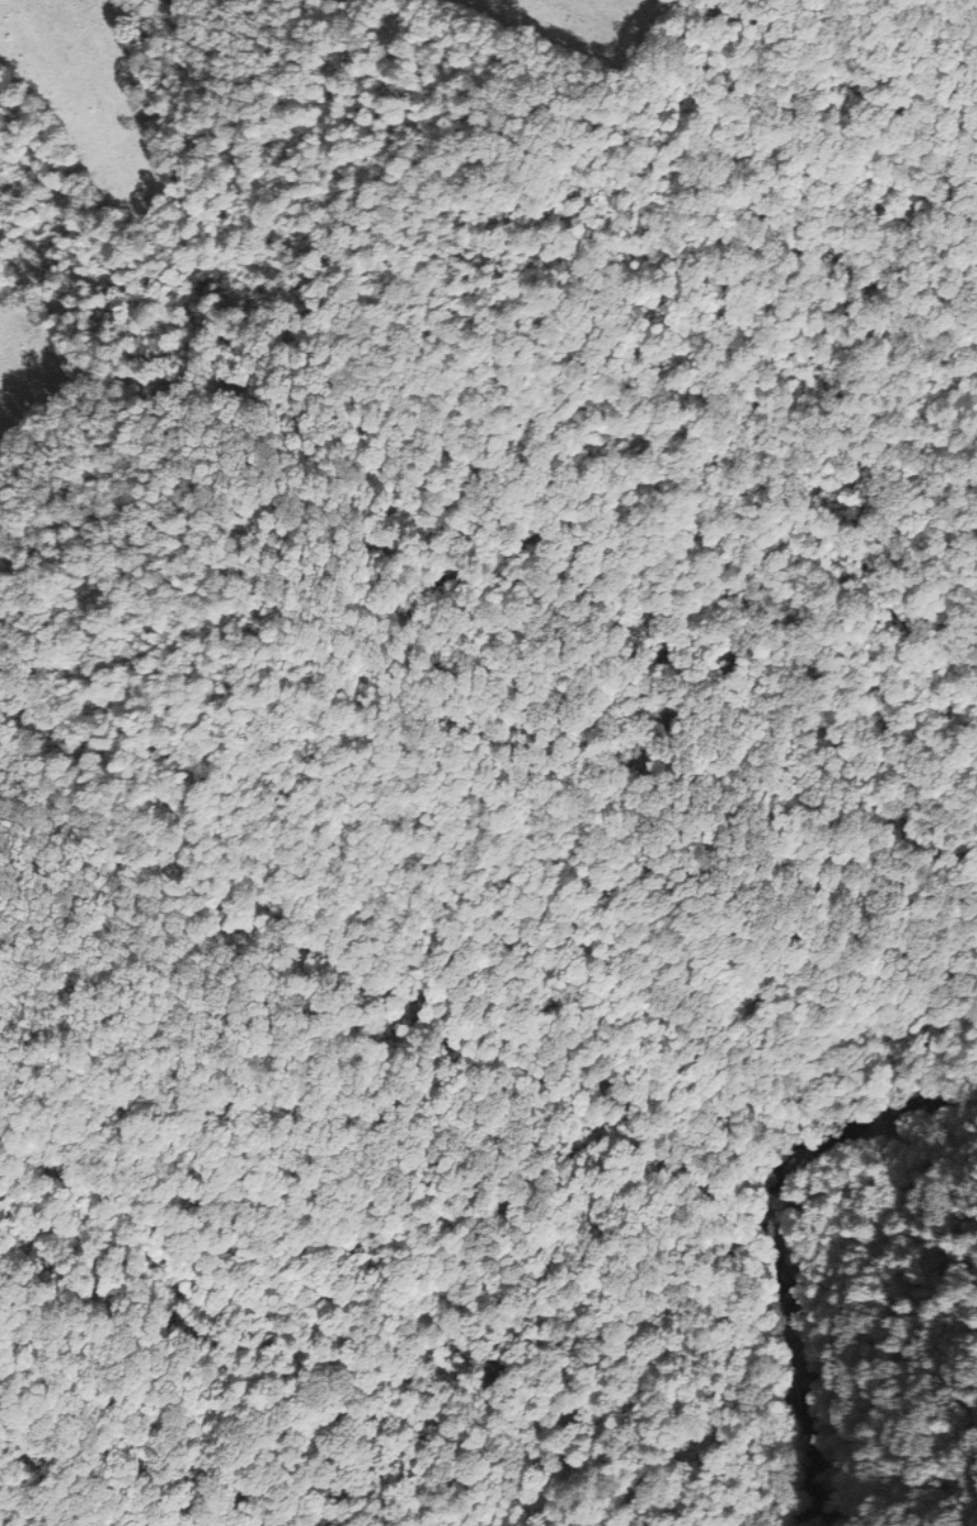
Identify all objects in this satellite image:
road: (840, 1304)

